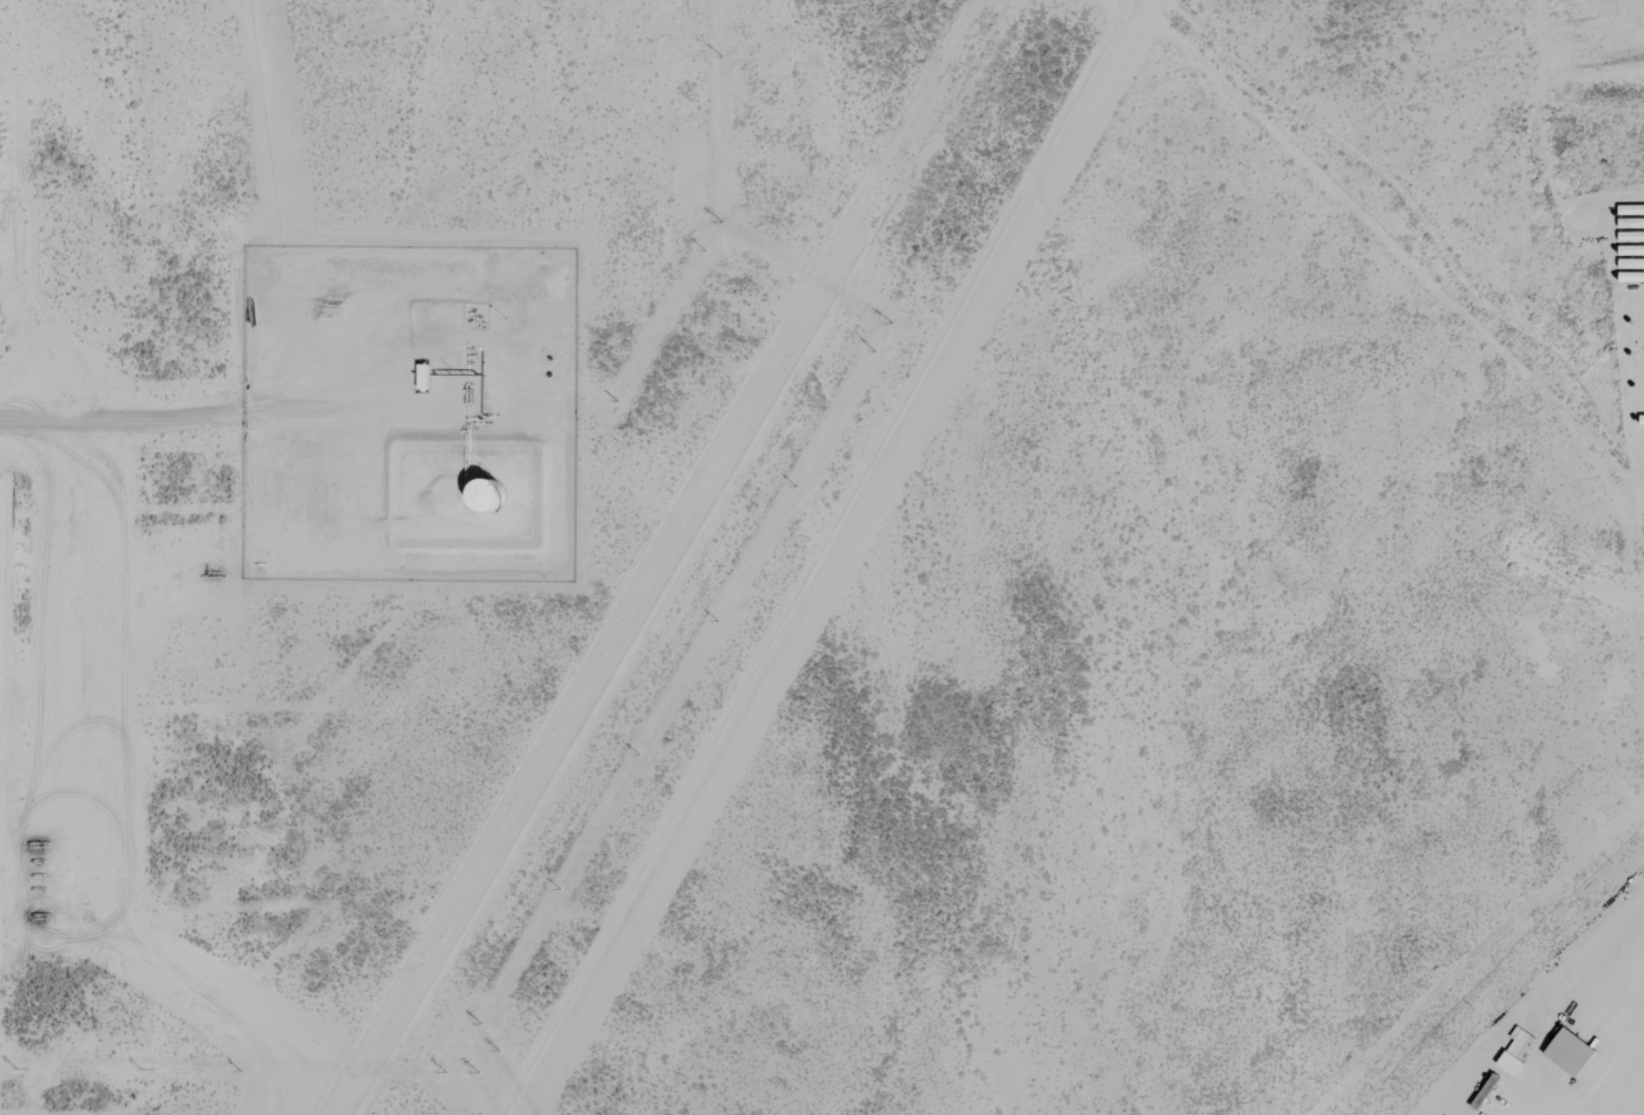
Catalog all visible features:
building: (1632, 223)
building: (1632, 264)
building: (1637, 307)
building: (1637, 355)
building: (1638, 370)
building: (1641, 403)
building: (1642, 419)
building: (1571, 1053)

